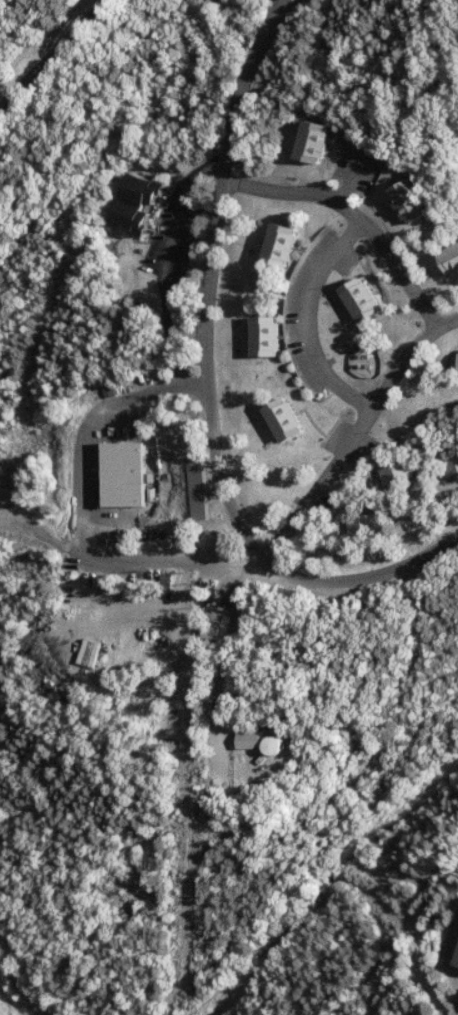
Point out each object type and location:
building: (4, 22)
road: (58, 58)
building: (315, 140)
road: (196, 178)
building: (415, 201)
building: (146, 203)
road: (357, 216)
road: (168, 235)
road: (220, 235)
building: (286, 243)
building: (454, 256)
building: (367, 299)
road: (315, 320)
building: (272, 335)
road: (167, 339)
building: (292, 419)
road: (358, 433)
building: (402, 472)
building: (128, 473)
building: (204, 487)
building: (368, 523)
road: (82, 524)
road: (132, 556)
road: (320, 578)
building: (257, 739)
building: (286, 745)

